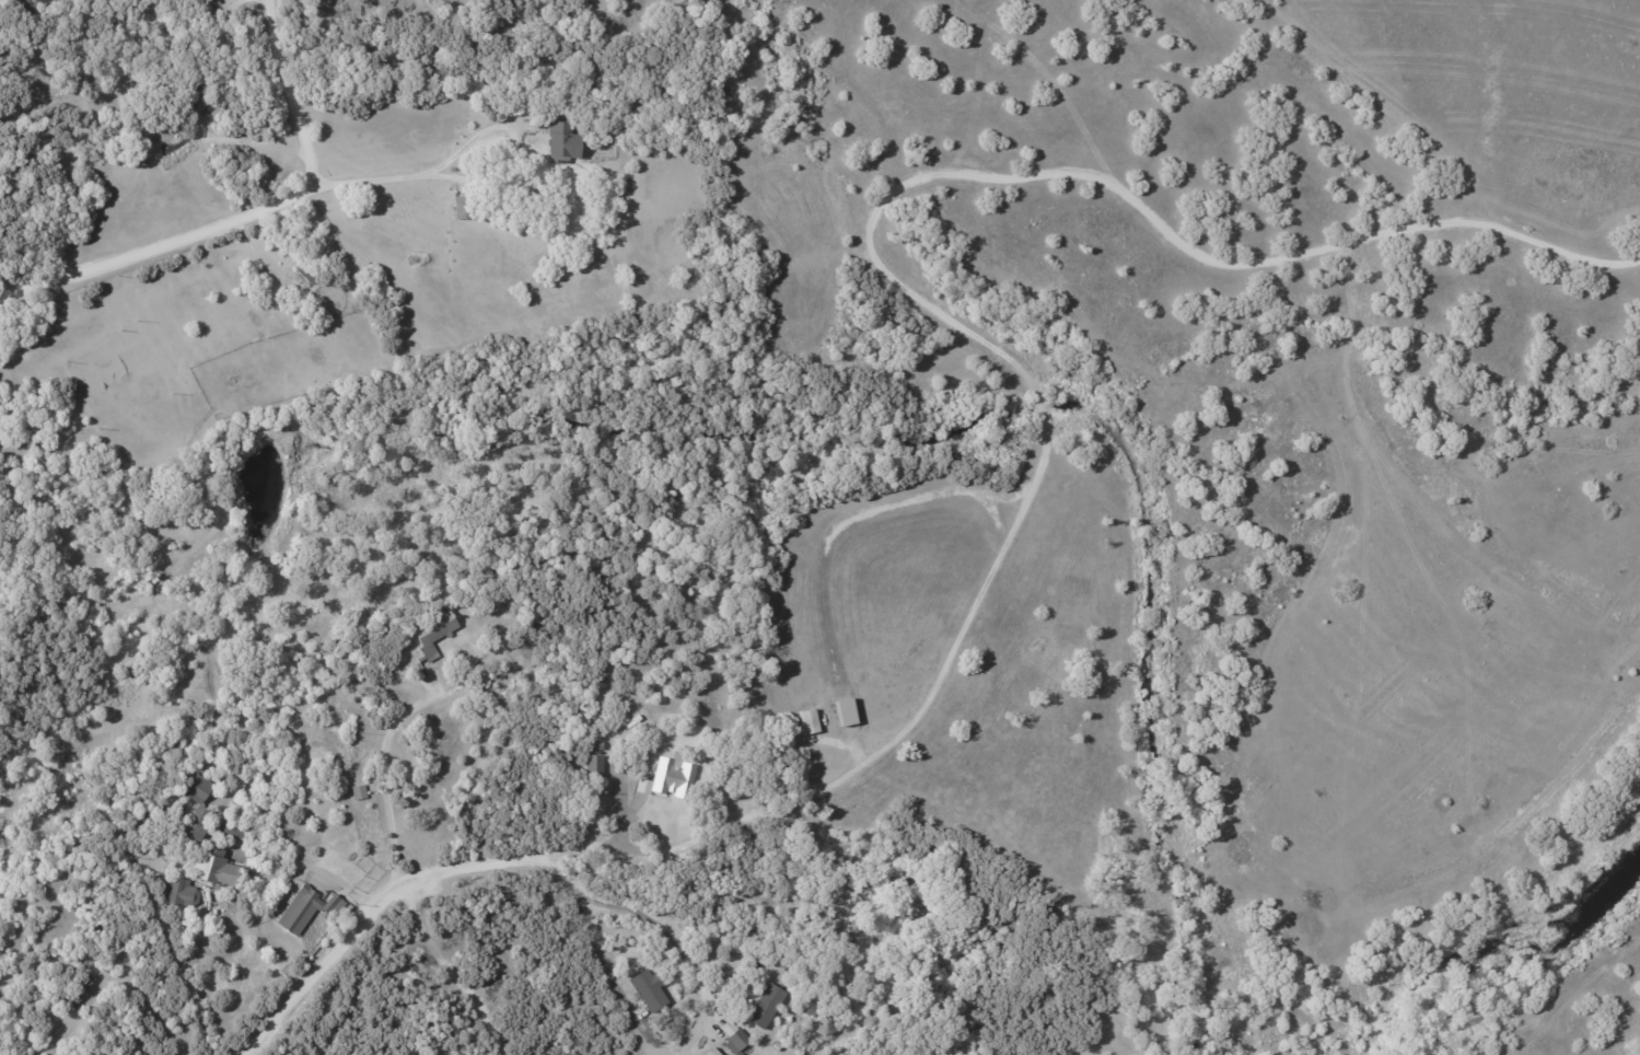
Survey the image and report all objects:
road: (239, 139)
building: (561, 139)
road: (430, 169)
building: (458, 206)
road: (253, 212)
road: (916, 281)
road: (827, 540)
building: (432, 630)
building: (844, 710)
building: (593, 760)
building: (667, 777)
road: (384, 779)
building: (195, 788)
building: (357, 791)
building: (232, 830)
building: (213, 866)
road: (307, 866)
road: (384, 899)
building: (306, 908)
road: (645, 917)
building: (647, 988)
building: (79, 989)
building: (764, 1005)
building: (732, 1035)
building: (711, 1052)

